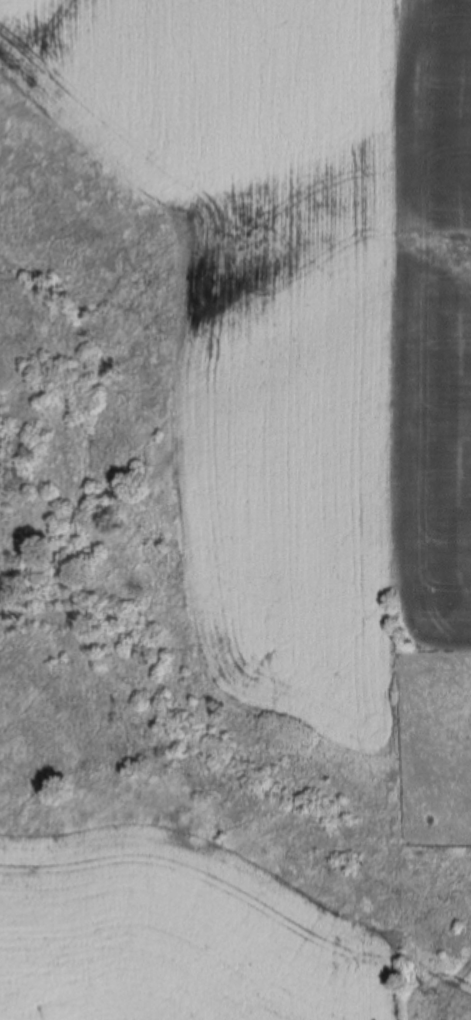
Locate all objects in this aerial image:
crop: (303, 308)
crop: (435, 739)
crop: (190, 941)

